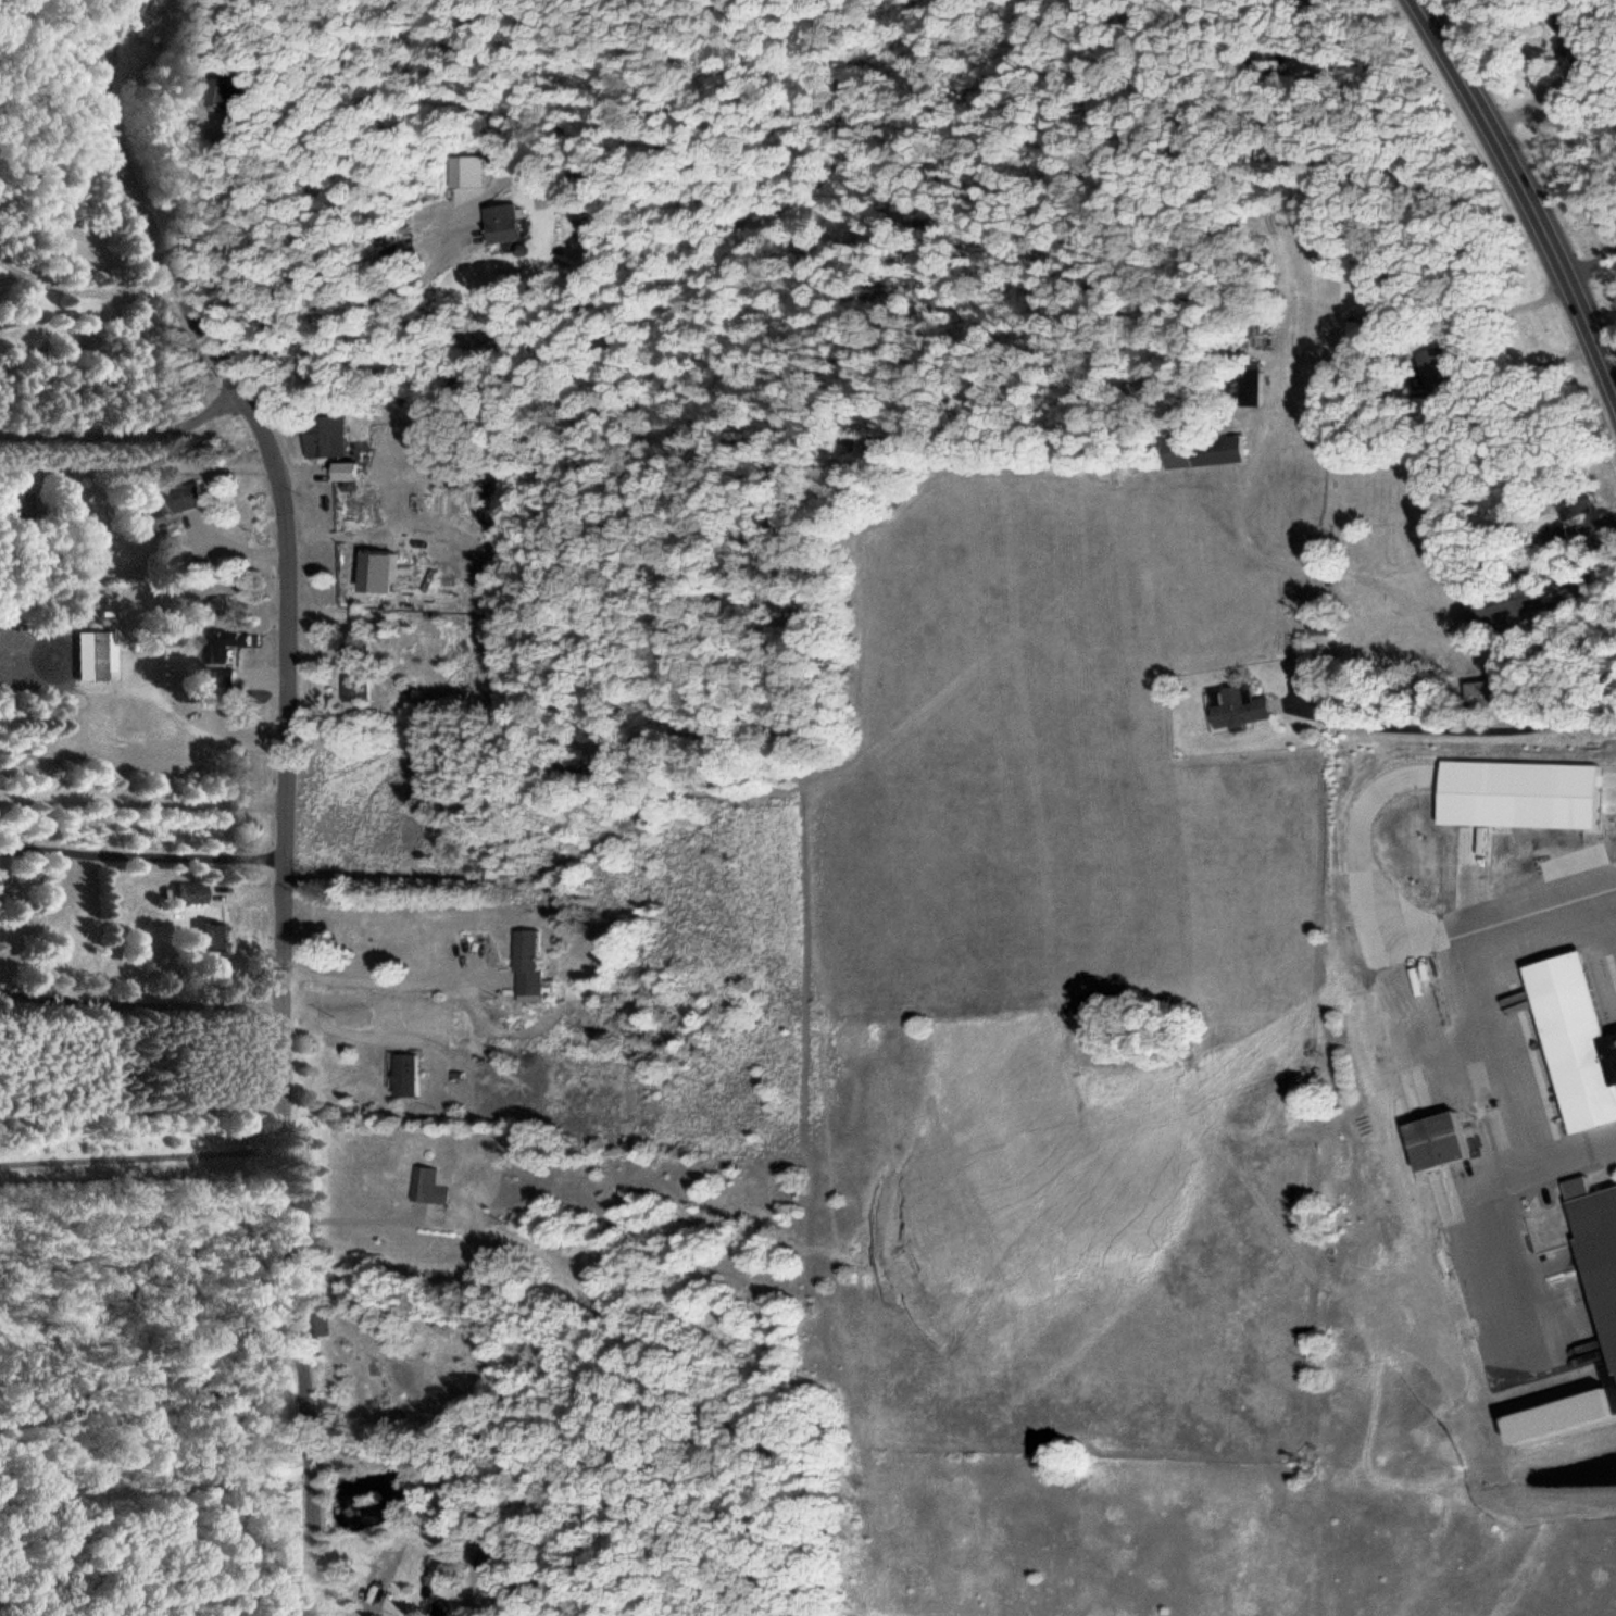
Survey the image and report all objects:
building: (1563, 35)
building: (233, 91)
road: (1528, 186)
building: (508, 222)
building: (1591, 229)
building: (1261, 268)
building: (1356, 333)
building: (1429, 368)
building: (1241, 386)
road: (127, 431)
building: (325, 439)
building: (1200, 451)
building: (177, 503)
building: (16, 509)
building: (1555, 534)
building: (1501, 601)
building: (222, 647)
building: (100, 655)
building: (354, 672)
building: (1477, 693)
building: (1235, 705)
road: (283, 786)
road: (139, 853)
building: (188, 892)
building: (210, 935)
building: (529, 961)
building: (1582, 1029)
building: (405, 1073)
building: (1454, 1137)
road: (139, 1155)
building: (427, 1185)
building: (1602, 1222)

